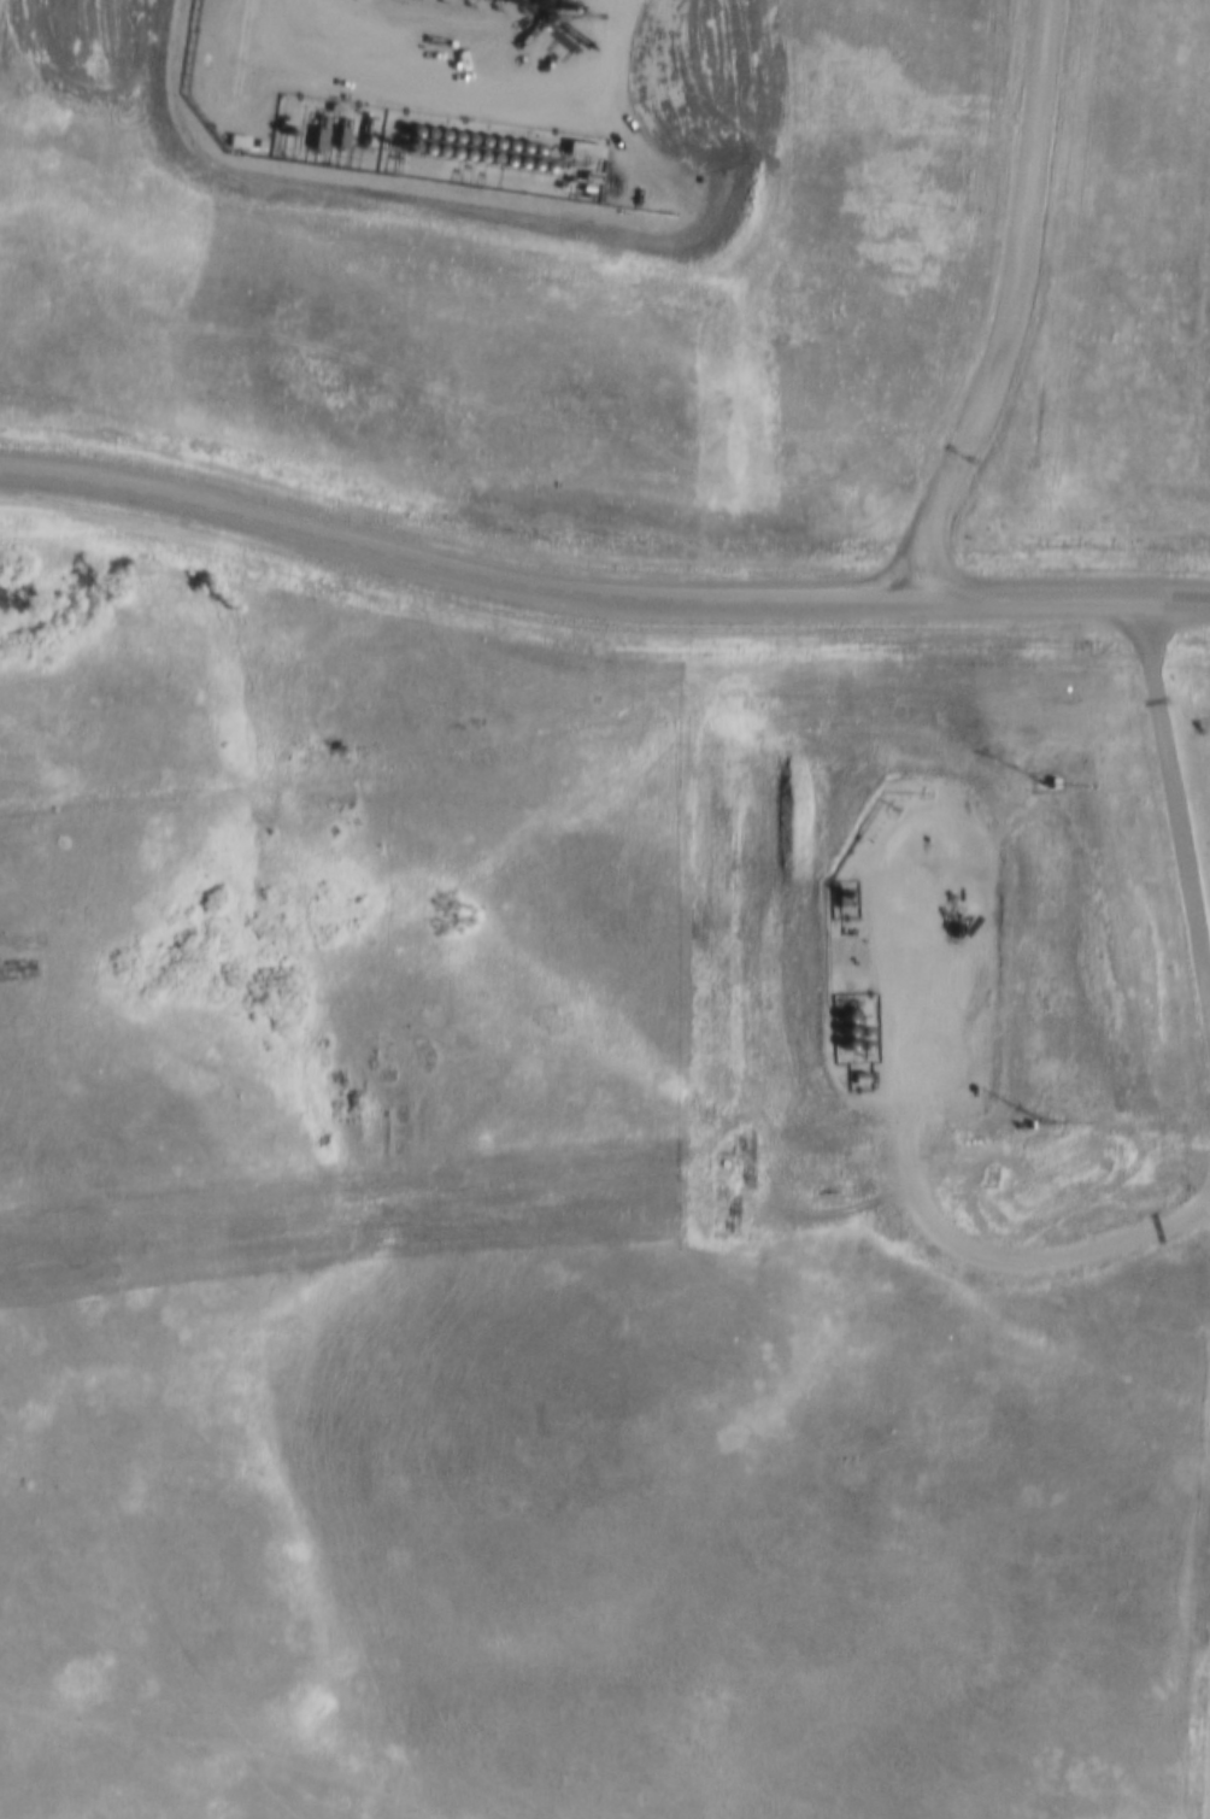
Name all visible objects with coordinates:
road: (1018, 312)
road: (598, 593)
road: (1174, 802)
petroleum well: (951, 920)
building: (838, 1021)
storage tank: (838, 1021)
building: (839, 1035)
storage tank: (839, 1035)
building: (856, 1035)
storage tank: (856, 1035)
building: (854, 1049)
storage tank: (854, 1049)
building: (841, 1050)
storage tank: (841, 1050)
road: (1000, 1251)

